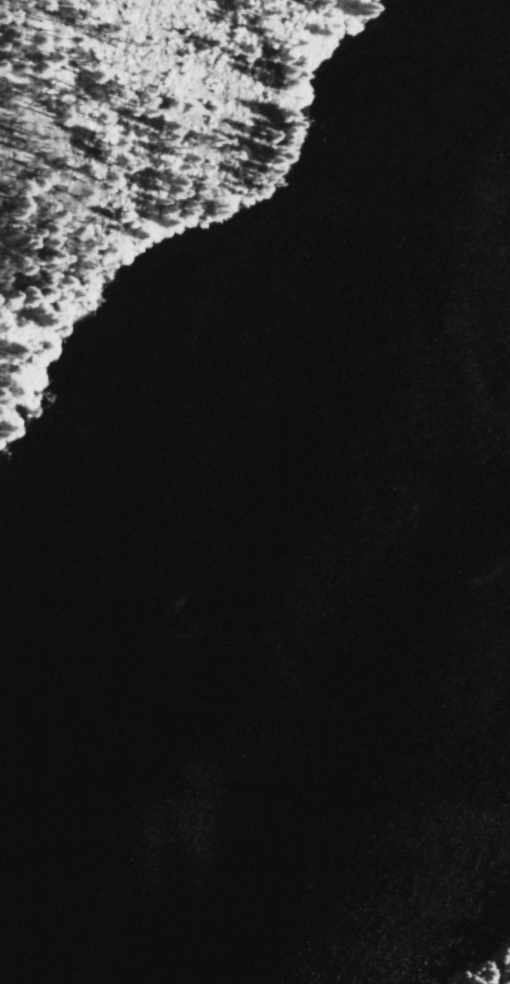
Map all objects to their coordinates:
road: (493, 971)

